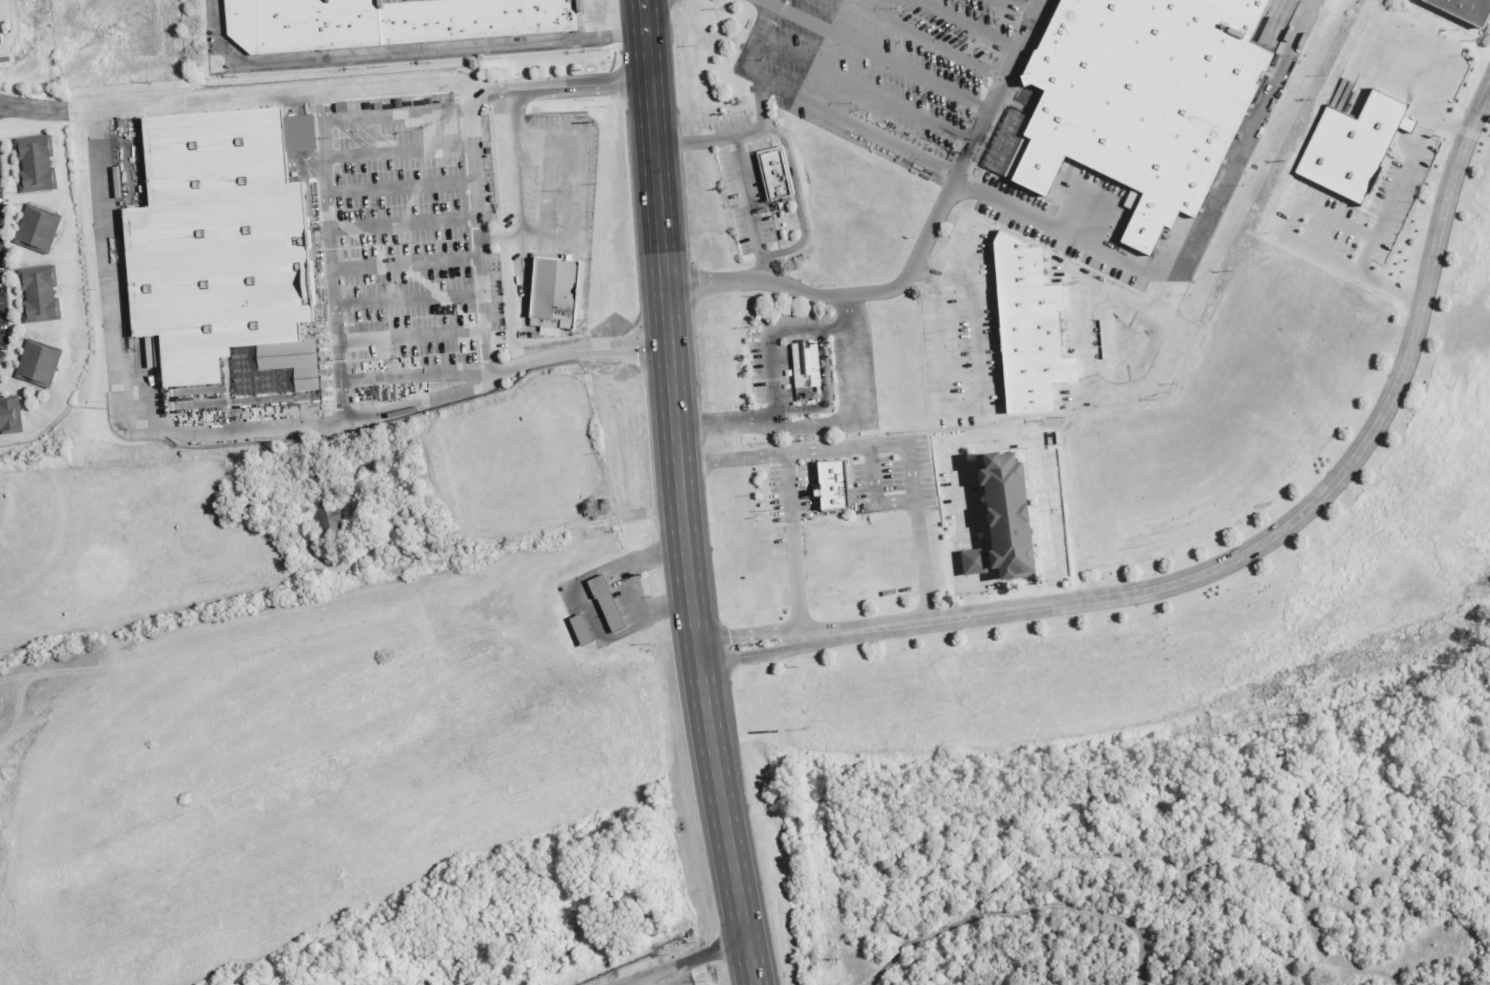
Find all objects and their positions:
parking lot: (395, 1)
road: (765, 3)
road: (1015, 9)
building: (1465, 10)
parking lot: (5, 20)
building: (389, 23)
road: (968, 24)
road: (922, 39)
road: (404, 52)
road: (879, 58)
parking lot: (1395, 87)
road: (864, 88)
building: (1138, 97)
parking lot: (927, 104)
road: (46, 108)
road: (759, 114)
road: (396, 118)
building: (1347, 147)
road: (580, 151)
road: (398, 152)
road: (922, 160)
road: (515, 162)
building: (34, 164)
road: (743, 166)
road: (1404, 171)
building: (775, 174)
parking lot: (548, 181)
road: (546, 183)
road: (401, 189)
road: (26, 194)
parking lot: (746, 198)
road: (29, 203)
parking lot: (1309, 203)
road: (403, 223)
building: (39, 229)
road: (1202, 230)
road: (478, 232)
road: (527, 235)
building: (217, 241)
road: (1296, 243)
road: (23, 247)
road: (920, 251)
road: (6, 254)
road: (332, 258)
parking lot: (416, 259)
road: (406, 262)
road: (109, 268)
road: (943, 284)
road: (1109, 290)
building: (555, 293)
building: (37, 294)
road: (409, 301)
road: (32, 324)
building: (1029, 327)
parking lot: (964, 329)
road: (767, 333)
road: (1083, 335)
road: (411, 338)
road: (26, 340)
building: (39, 363)
building: (801, 364)
road: (14, 378)
road: (415, 380)
road: (29, 384)
road: (823, 391)
building: (364, 398)
road: (958, 409)
building: (10, 417)
road: (831, 425)
road: (983, 438)
road: (842, 450)
road: (730, 460)
parking lot: (900, 475)
road: (870, 476)
building: (829, 485)
parking lot: (789, 493)
road: (679, 494)
road: (893, 503)
building: (334, 515)
building: (1008, 515)
road: (622, 518)
road: (1277, 532)
road: (652, 557)
parking lot: (858, 561)
building: (974, 561)
parking lot: (767, 568)
building: (607, 604)
road: (663, 608)
building: (581, 632)
road: (603, 632)
road: (743, 633)
road: (746, 654)
road: (58, 702)
road: (50, 716)
road: (1023, 915)
road: (725, 945)
road: (667, 968)
road: (873, 982)

